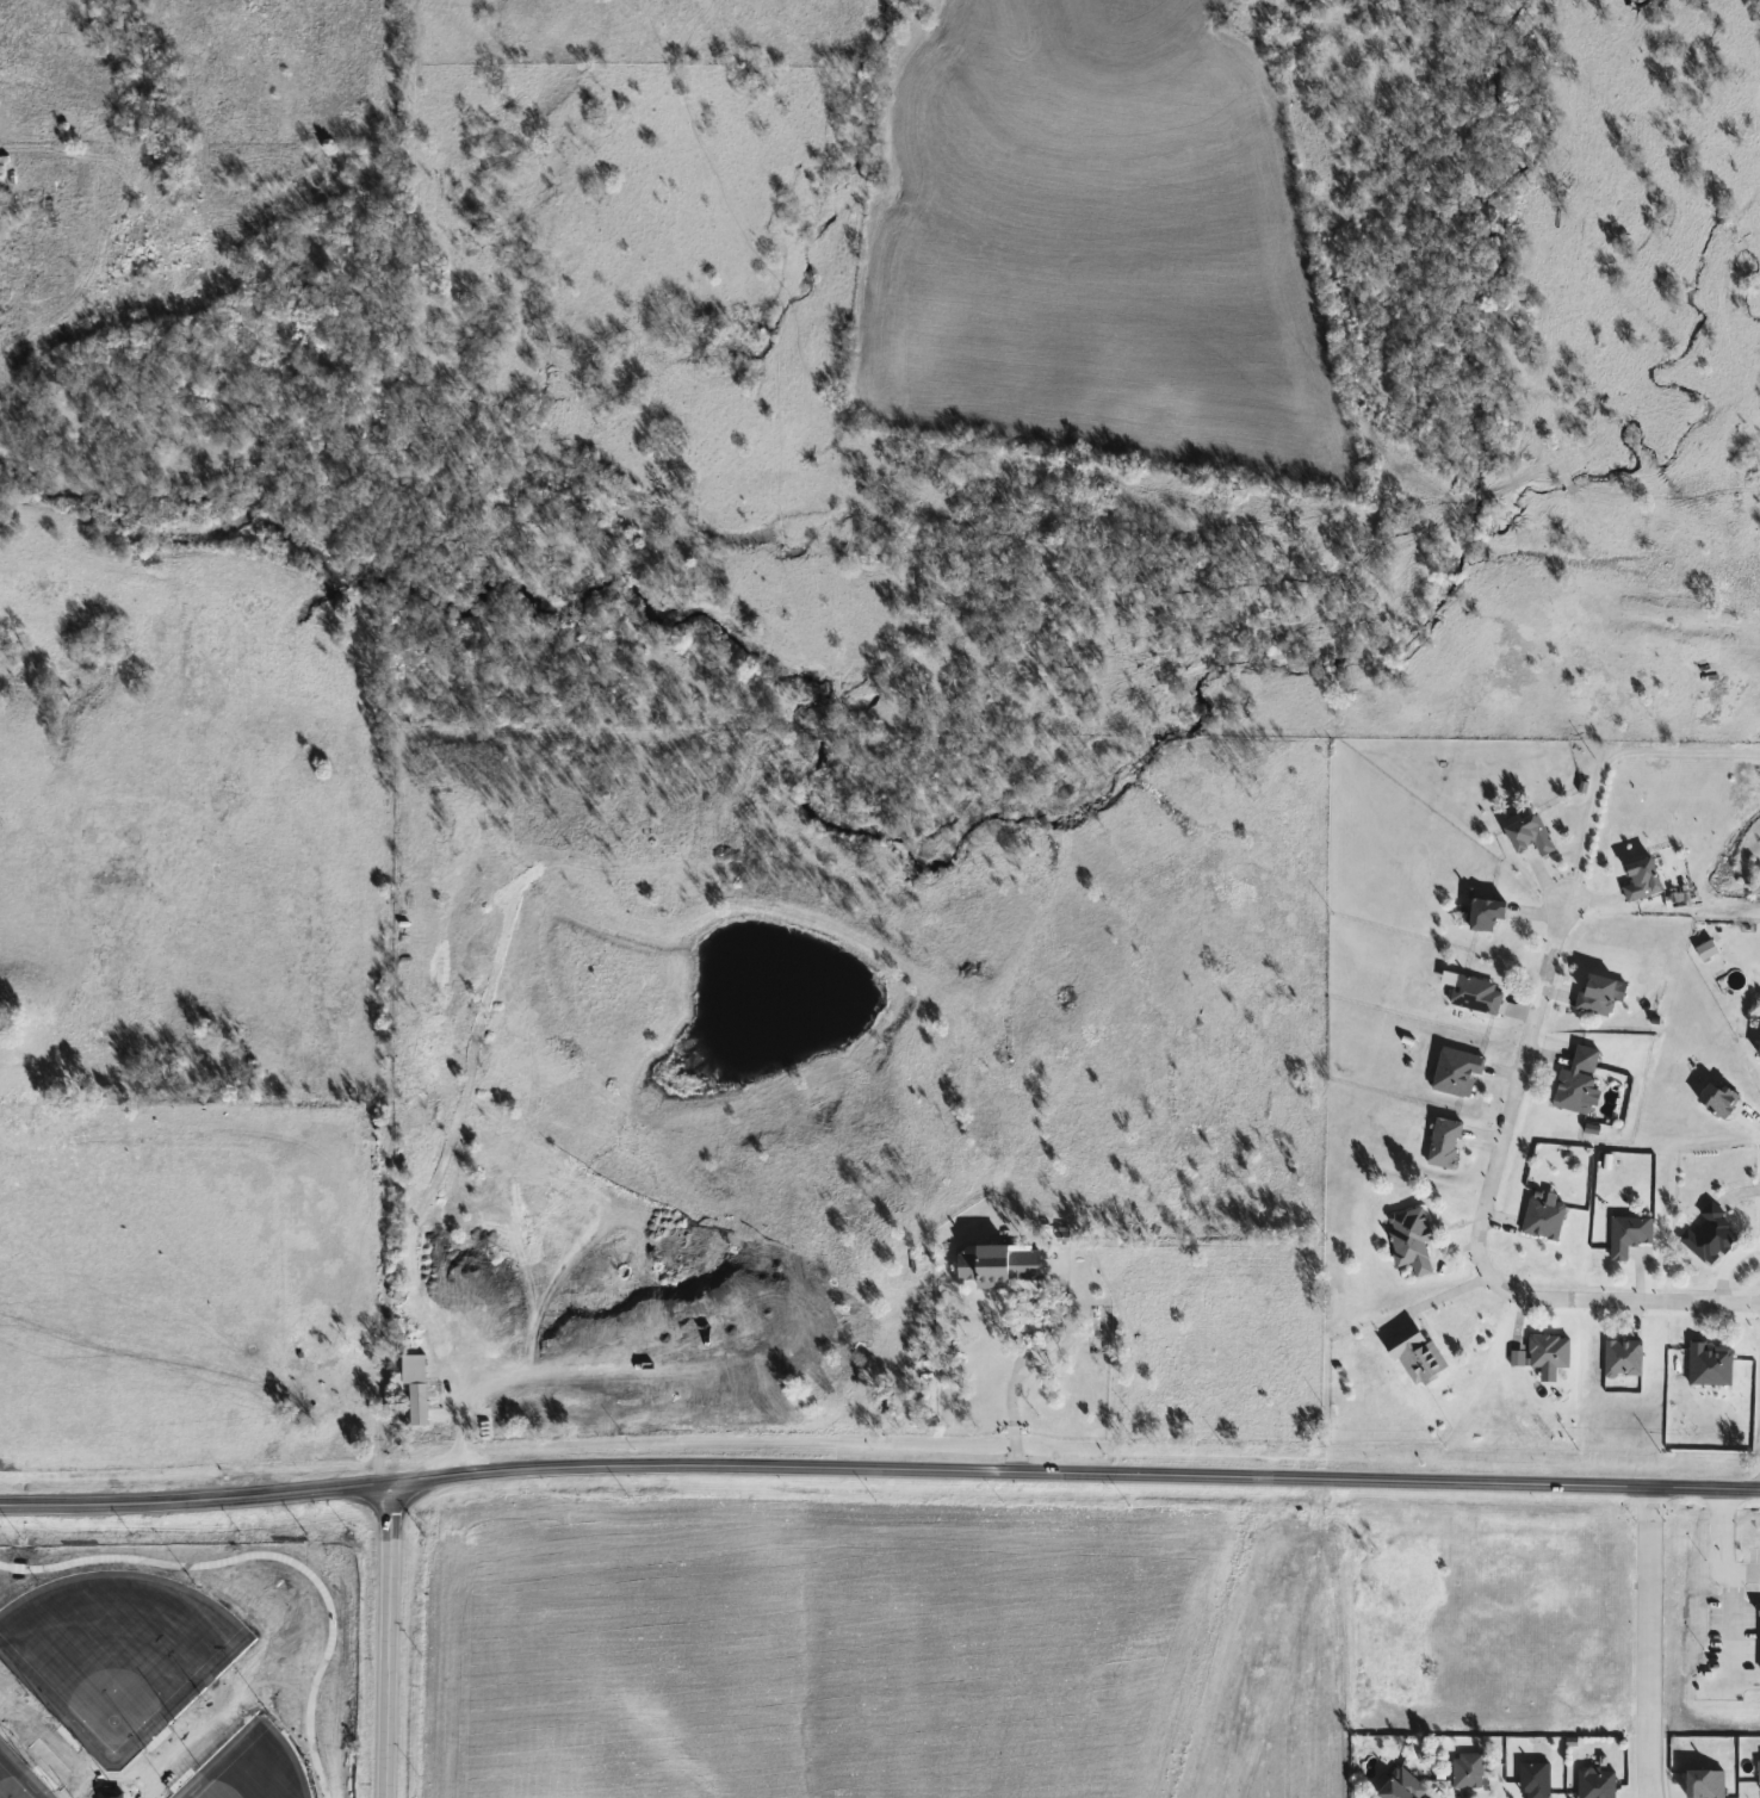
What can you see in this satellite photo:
building: (4, 203)
building: (1526, 836)
building: (1637, 880)
building: (1482, 913)
building: (1473, 994)
building: (1593, 994)
building: (1758, 1043)
building: (1454, 1073)
building: (1574, 1081)
building: (1715, 1099)
building: (14, 1118)
building: (1442, 1143)
building: (1541, 1219)
road: (1479, 1224)
building: (1625, 1234)
building: (1705, 1236)
building: (1408, 1240)
building: (997, 1264)
building: (1412, 1354)
building: (1547, 1354)
building: (1620, 1358)
building: (1706, 1363)
building: (323, 1376)
road: (1022, 1377)
building: (415, 1403)
road: (367, 1430)
road: (723, 1465)
road: (1603, 1487)
road: (1724, 1550)
road: (1735, 1632)
building: (1759, 1636)
road: (388, 1641)
road: (1643, 1643)
building: (1464, 1769)
building: (1758, 1772)
building: (1531, 1779)
building: (1593, 1782)
building: (1700, 1784)
building: (1398, 1786)

